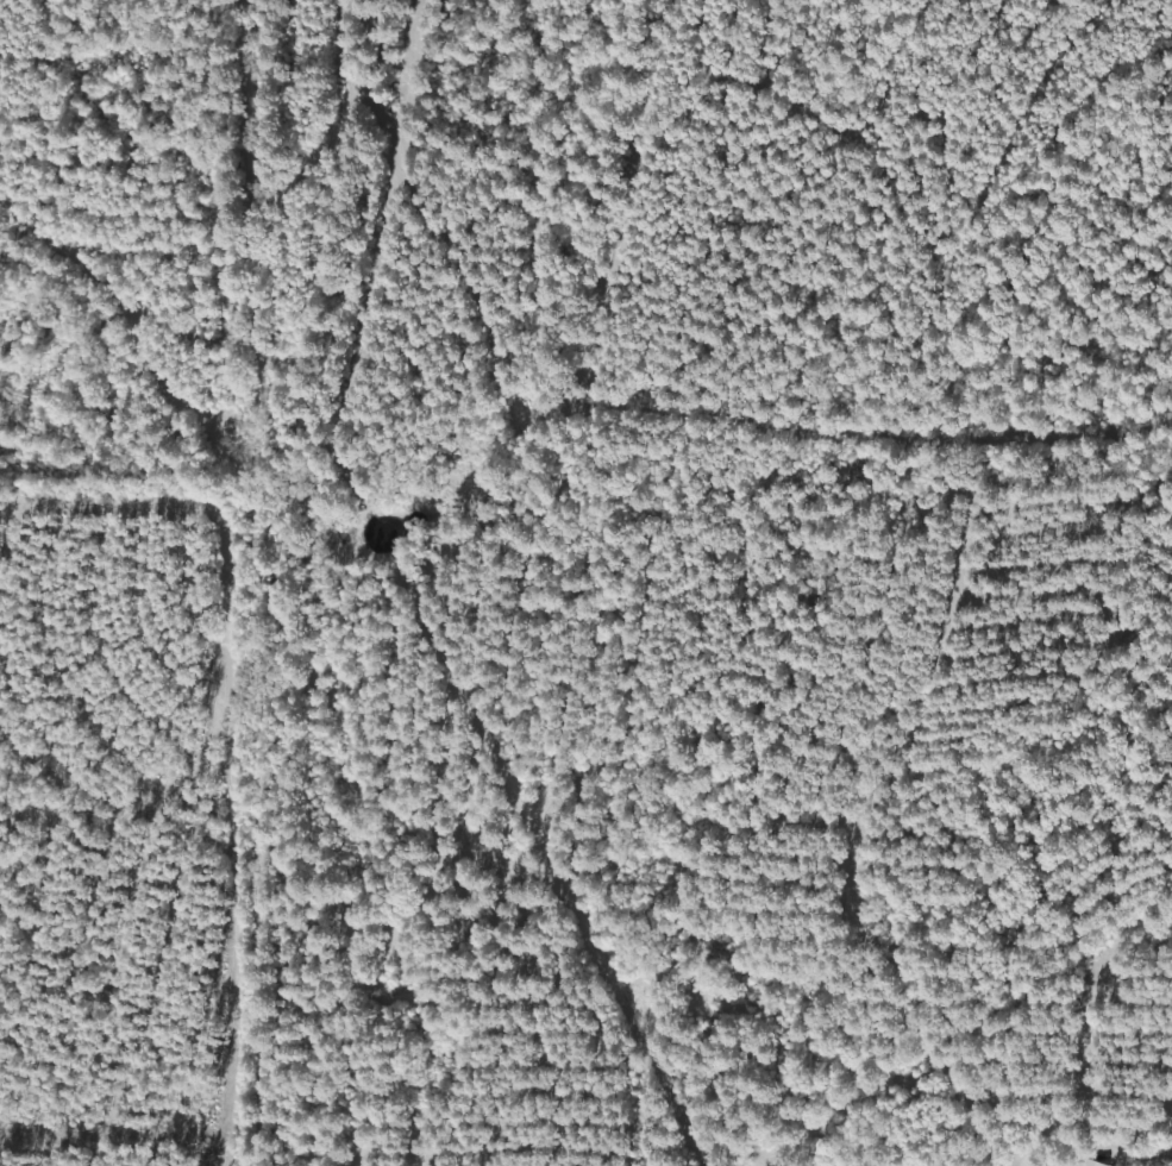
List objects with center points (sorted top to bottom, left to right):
road: (19, 134)
building: (1095, 1162)

